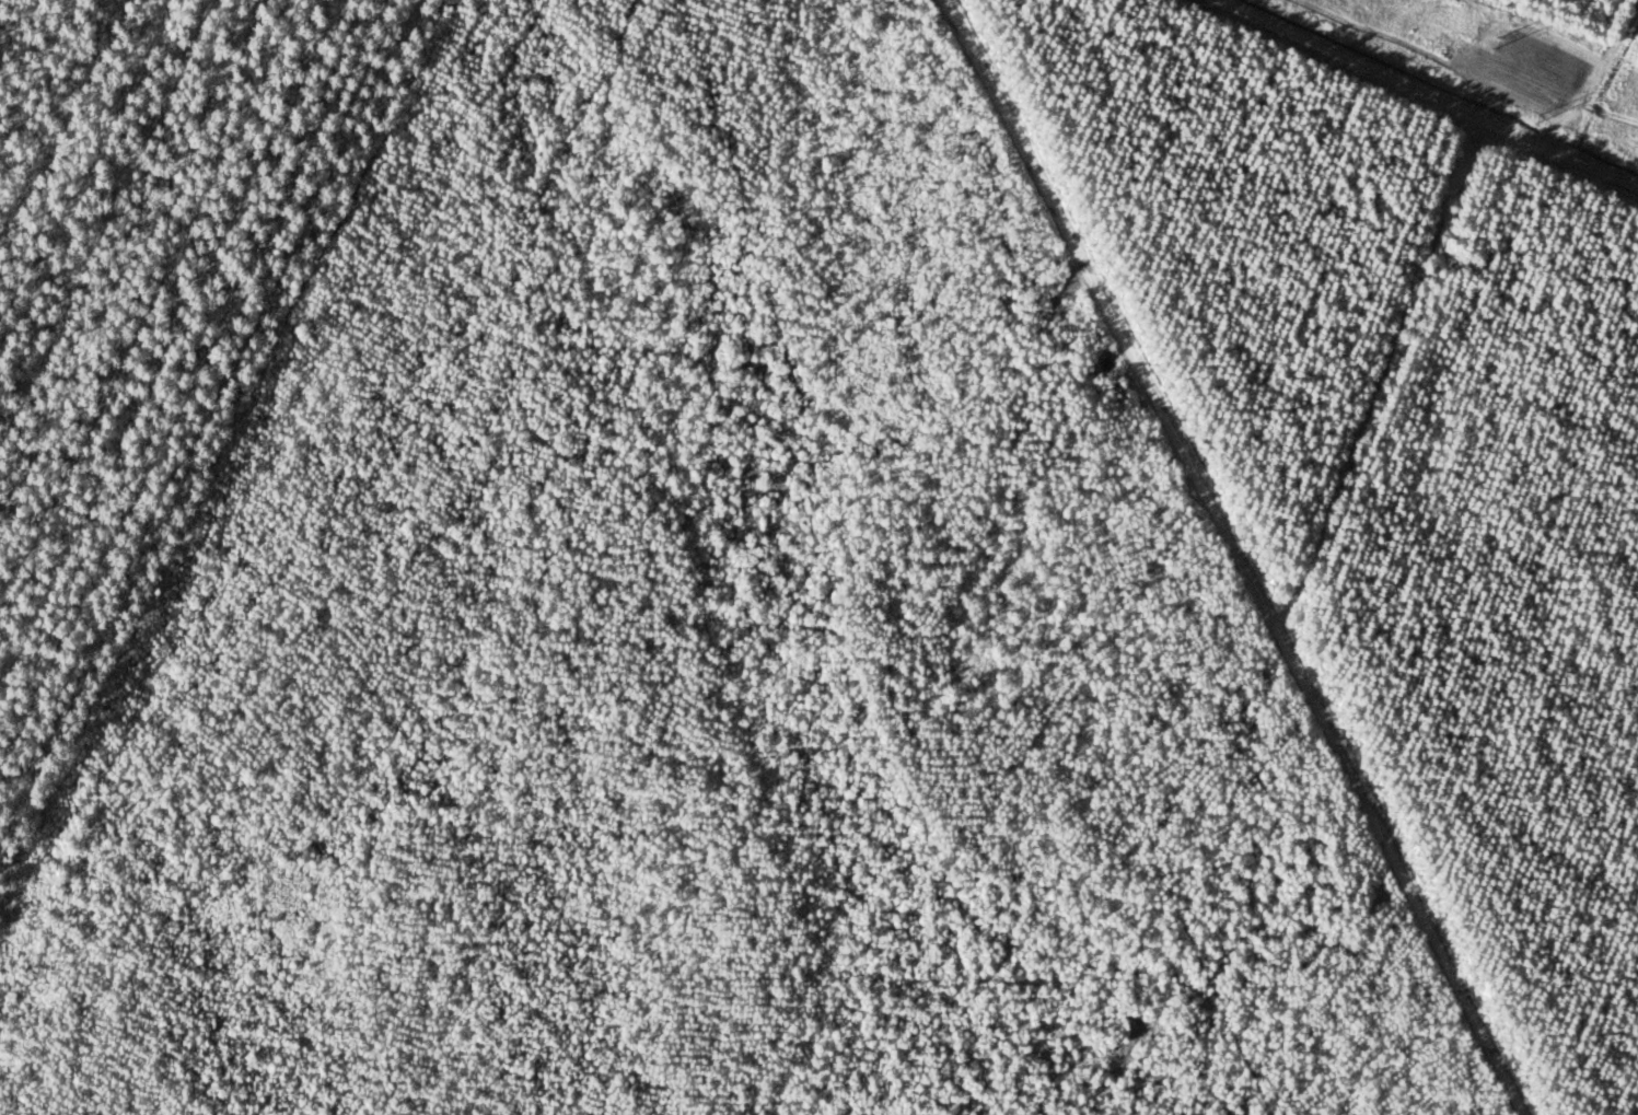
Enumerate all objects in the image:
power tower: (1485, 40)
power tower: (1537, 121)

